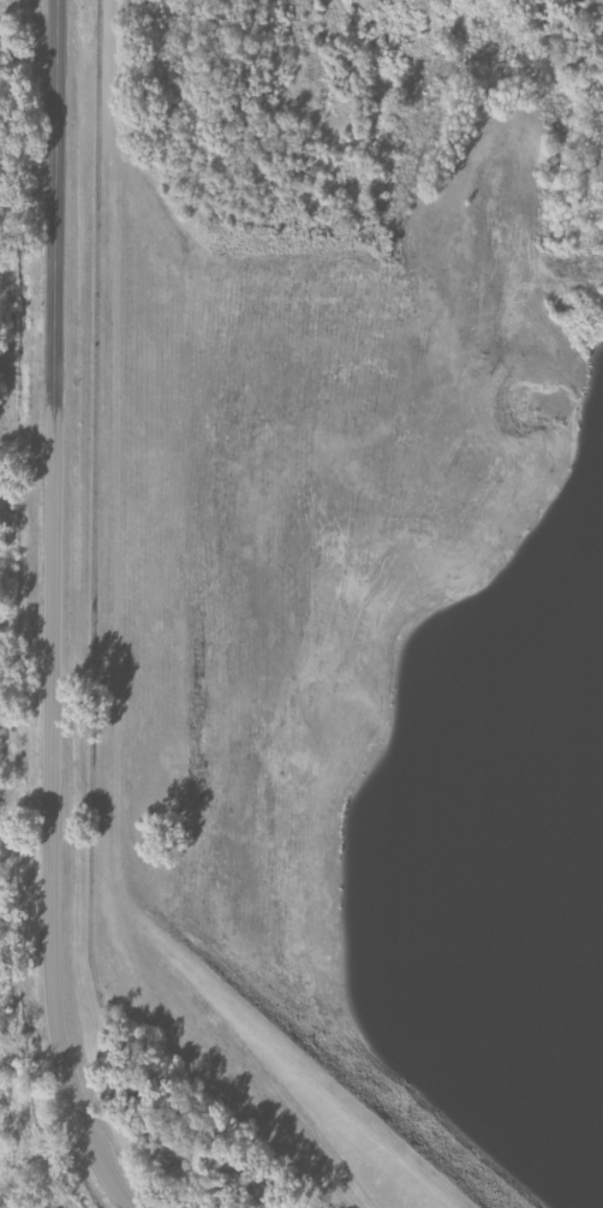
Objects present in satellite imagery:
road: (50, 609)

